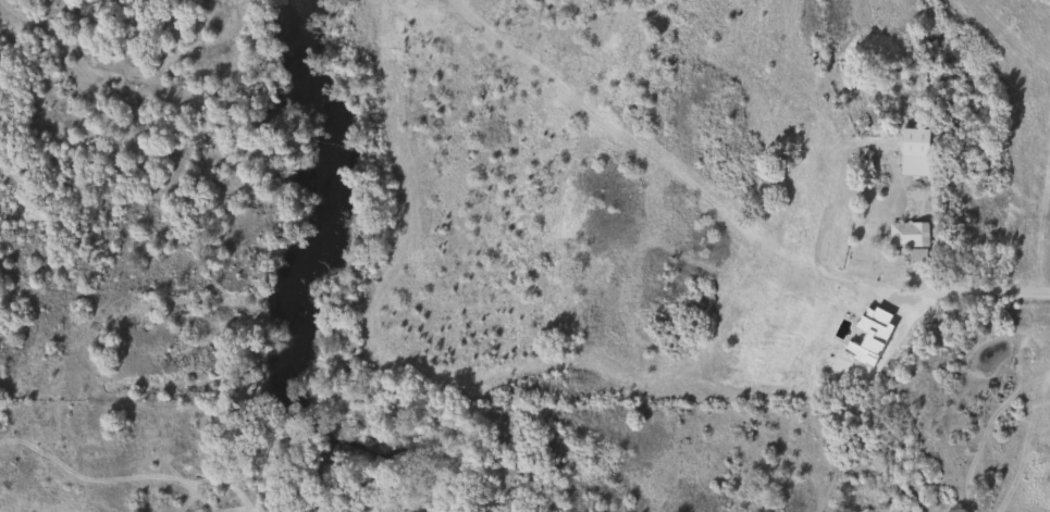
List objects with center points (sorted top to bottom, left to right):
building: (911, 152)
building: (905, 236)
road: (1004, 295)

